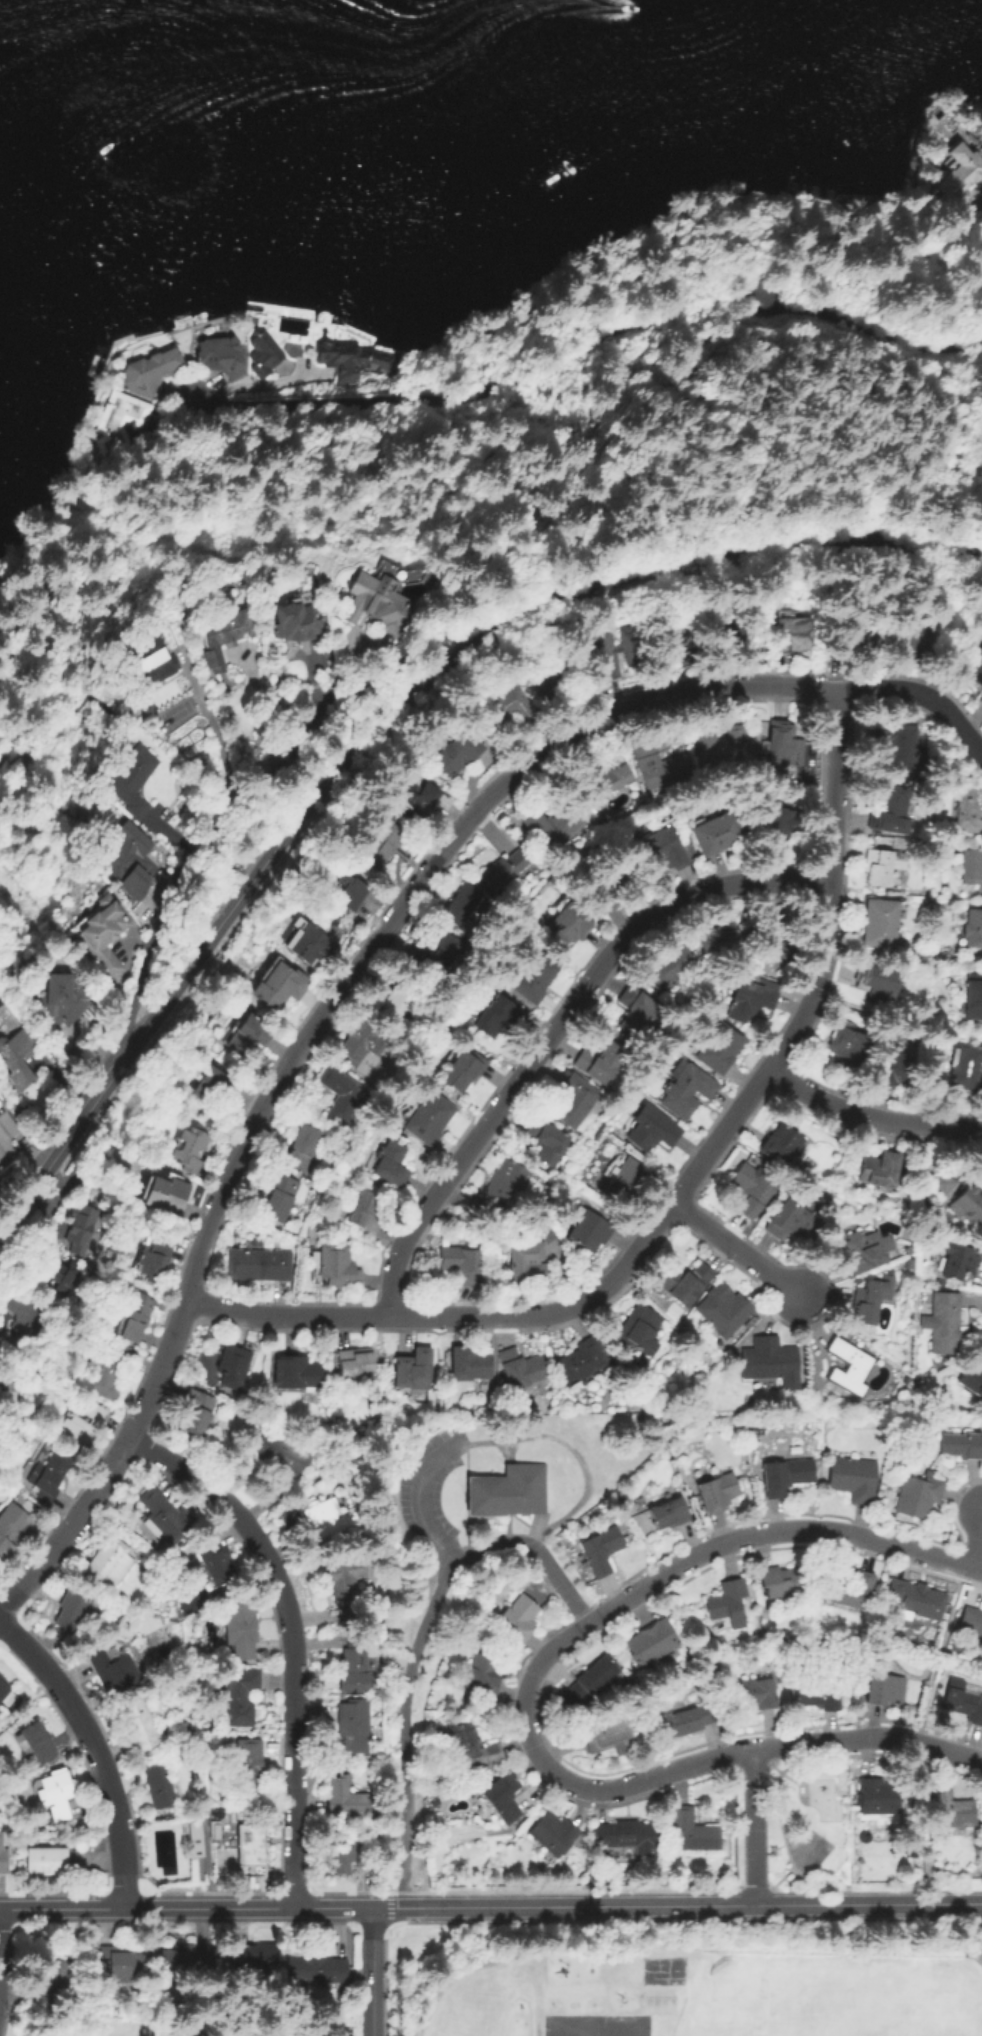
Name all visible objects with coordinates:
building: (957, 177)
building: (275, 352)
building: (220, 356)
building: (353, 360)
road: (592, 363)
building: (149, 372)
park: (706, 391)
building: (121, 423)
building: (377, 604)
building: (295, 623)
building: (224, 633)
building: (793, 634)
building: (731, 635)
building: (668, 637)
building: (850, 640)
building: (910, 642)
building: (615, 652)
building: (151, 664)
building: (975, 669)
building: (550, 678)
road: (922, 695)
building: (980, 698)
road: (269, 704)
building: (509, 708)
park: (176, 715)
road: (384, 717)
building: (917, 719)
road: (211, 730)
building: (783, 745)
building: (721, 747)
building: (897, 748)
building: (458, 754)
building: (660, 766)
building: (608, 778)
building: (131, 780)
road: (838, 784)
road: (244, 790)
building: (415, 798)
building: (643, 805)
building: (890, 810)
building: (966, 813)
building: (553, 826)
building: (778, 827)
building: (718, 834)
building: (382, 845)
building: (664, 850)
building: (129, 857)
building: (970, 866)
building: (878, 868)
building: (503, 871)
building: (344, 889)
building: (604, 892)
building: (462, 904)
building: (880, 924)
building: (569, 925)
building: (973, 929)
building: (101, 937)
building: (718, 937)
building: (768, 937)
building: (62, 939)
road: (379, 940)
building: (305, 945)
building: (436, 956)
building: (669, 968)
building: (755, 970)
building: (534, 976)
building: (877, 985)
building: (279, 987)
building: (973, 997)
building: (59, 998)
building: (749, 999)
building: (396, 1004)
building: (2, 1013)
building: (636, 1013)
building: (494, 1017)
road: (560, 1030)
building: (248, 1035)
building: (359, 1043)
building: (720, 1049)
building: (851, 1050)
building: (12, 1057)
building: (601, 1064)
building: (966, 1069)
building: (463, 1070)
building: (896, 1070)
building: (212, 1087)
building: (687, 1092)
building: (342, 1095)
building: (574, 1100)
road: (871, 1114)
building: (429, 1118)
building: (652, 1129)
building: (547, 1142)
building: (781, 1146)
building: (299, 1148)
building: (188, 1149)
building: (391, 1165)
building: (878, 1170)
building: (940, 1184)
building: (627, 1185)
building: (393, 1189)
building: (499, 1190)
building: (751, 1190)
building: (164, 1195)
building: (279, 1197)
building: (968, 1205)
building: (364, 1211)
building: (791, 1222)
building: (80, 1232)
building: (589, 1232)
building: (254, 1241)
road: (739, 1248)
building: (908, 1251)
building: (864, 1252)
building: (154, 1260)
building: (524, 1261)
building: (958, 1261)
building: (461, 1263)
building: (258, 1265)
building: (337, 1266)
road: (621, 1267)
building: (61, 1276)
building: (685, 1284)
building: (871, 1303)
building: (724, 1313)
building: (23, 1315)
building: (135, 1318)
building: (943, 1323)
building: (639, 1331)
building: (583, 1361)
building: (355, 1362)
building: (770, 1362)
building: (470, 1364)
building: (231, 1366)
building: (848, 1367)
building: (413, 1369)
building: (521, 1370)
building: (108, 1371)
building: (274, 1372)
building: (298, 1373)
building: (905, 1380)
building: (971, 1380)
building: (195, 1412)
building: (80, 1427)
road: (513, 1440)
building: (961, 1446)
building: (280, 1453)
building: (48, 1473)
building: (781, 1477)
building: (853, 1479)
building: (718, 1492)
building: (501, 1496)
building: (918, 1496)
building: (669, 1514)
building: (164, 1517)
building: (330, 1518)
road: (70, 1525)
building: (10, 1528)
road: (976, 1548)
building: (602, 1550)
building: (109, 1563)
building: (215, 1563)
building: (780, 1582)
building: (348, 1587)
building: (846, 1589)
building: (914, 1601)
building: (727, 1604)
building: (72, 1610)
building: (518, 1619)
building: (971, 1621)
building: (240, 1629)
road: (292, 1636)
road: (943, 1640)
building: (651, 1642)
road: (421, 1645)
building: (354, 1665)
building: (114, 1672)
building: (482, 1674)
building: (590, 1682)
building: (3, 1688)
building: (884, 1690)
building: (758, 1692)
building: (819, 1693)
building: (239, 1696)
road: (524, 1698)
building: (964, 1704)
building: (688, 1719)
building: (353, 1724)
building: (139, 1727)
building: (610, 1737)
building: (34, 1743)
road: (95, 1750)
building: (471, 1750)
building: (248, 1764)
building: (161, 1786)
building: (437, 1788)
building: (56, 1795)
building: (502, 1798)
building: (877, 1798)
building: (346, 1799)
building: (950, 1809)
park: (809, 1823)
road: (753, 1827)
building: (692, 1832)
building: (554, 1834)
building: (625, 1836)
building: (193, 1841)
building: (251, 1850)
building: (338, 1855)
building: (365, 1857)
building: (2, 1860)
building: (50, 1862)
road: (867, 1903)
road: (522, 1905)
road: (145, 1908)
road: (0, 1939)
building: (253, 1958)
building: (117, 1961)
building: (183, 1962)
road: (488, 1962)
building: (316, 1970)
park: (666, 1971)
road: (371, 1972)
building: (49, 1974)
building: (43, 2003)
park: (839, 2006)
park: (598, 2025)

